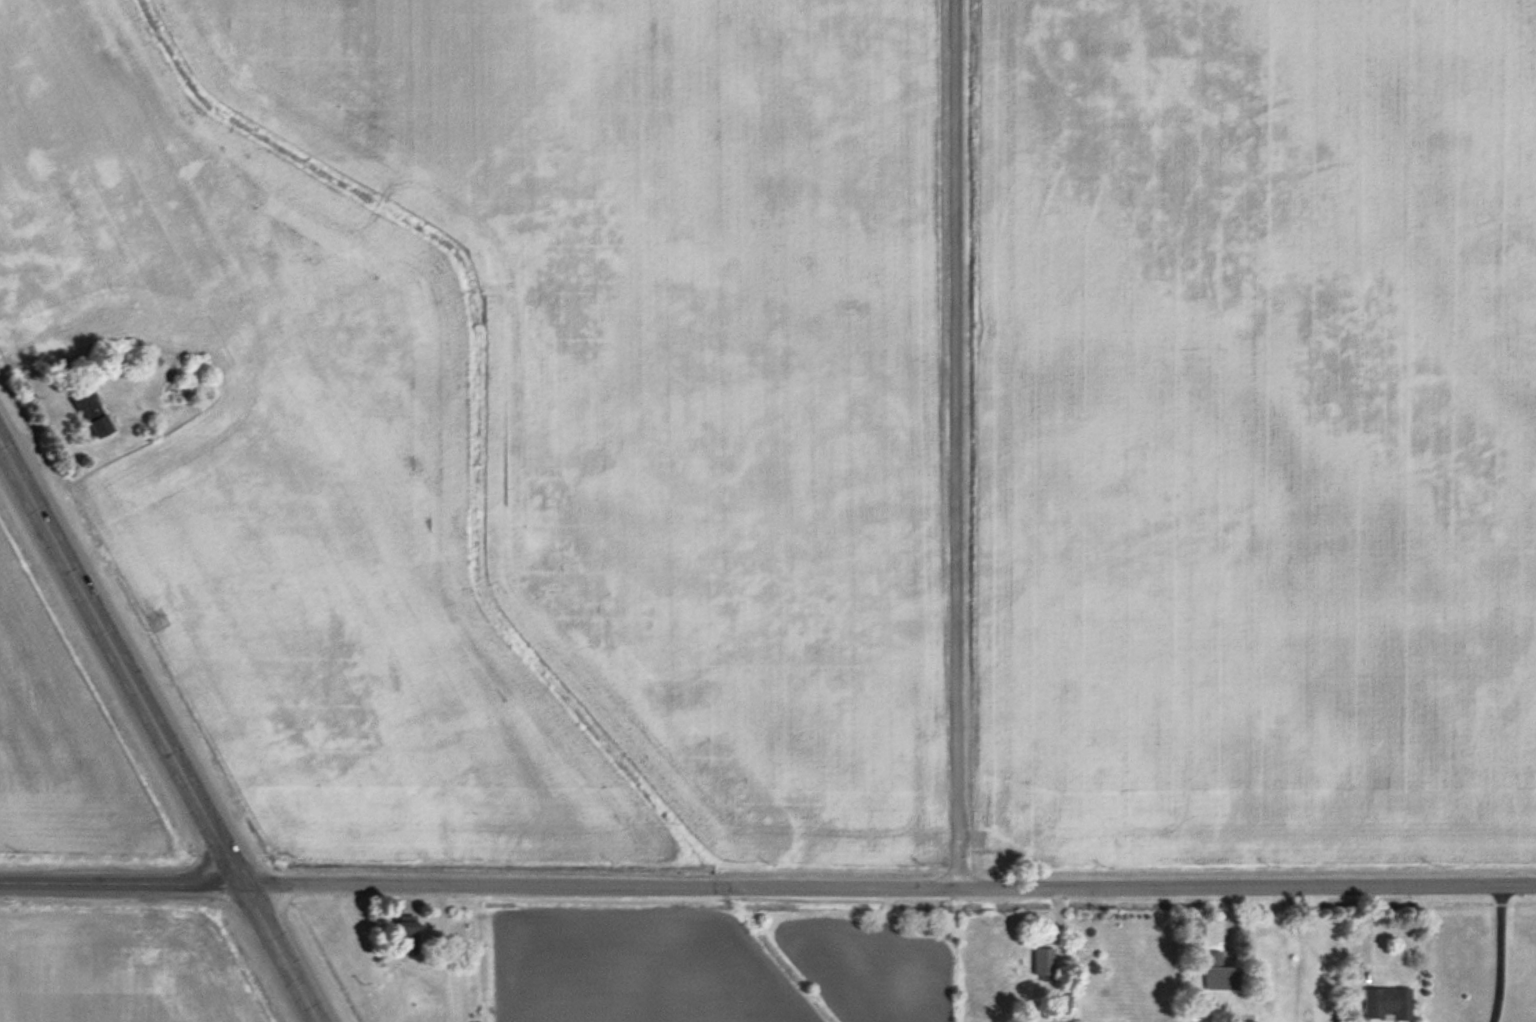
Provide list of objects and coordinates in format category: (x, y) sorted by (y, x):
crop: (517, 405)
building: (88, 408)
crop: (1255, 431)
road: (956, 445)
road: (158, 733)
crop: (60, 740)
road: (120, 883)
road: (888, 889)
building: (406, 934)
road: (1500, 954)
building: (1044, 965)
building: (1219, 973)
building: (1386, 1005)

